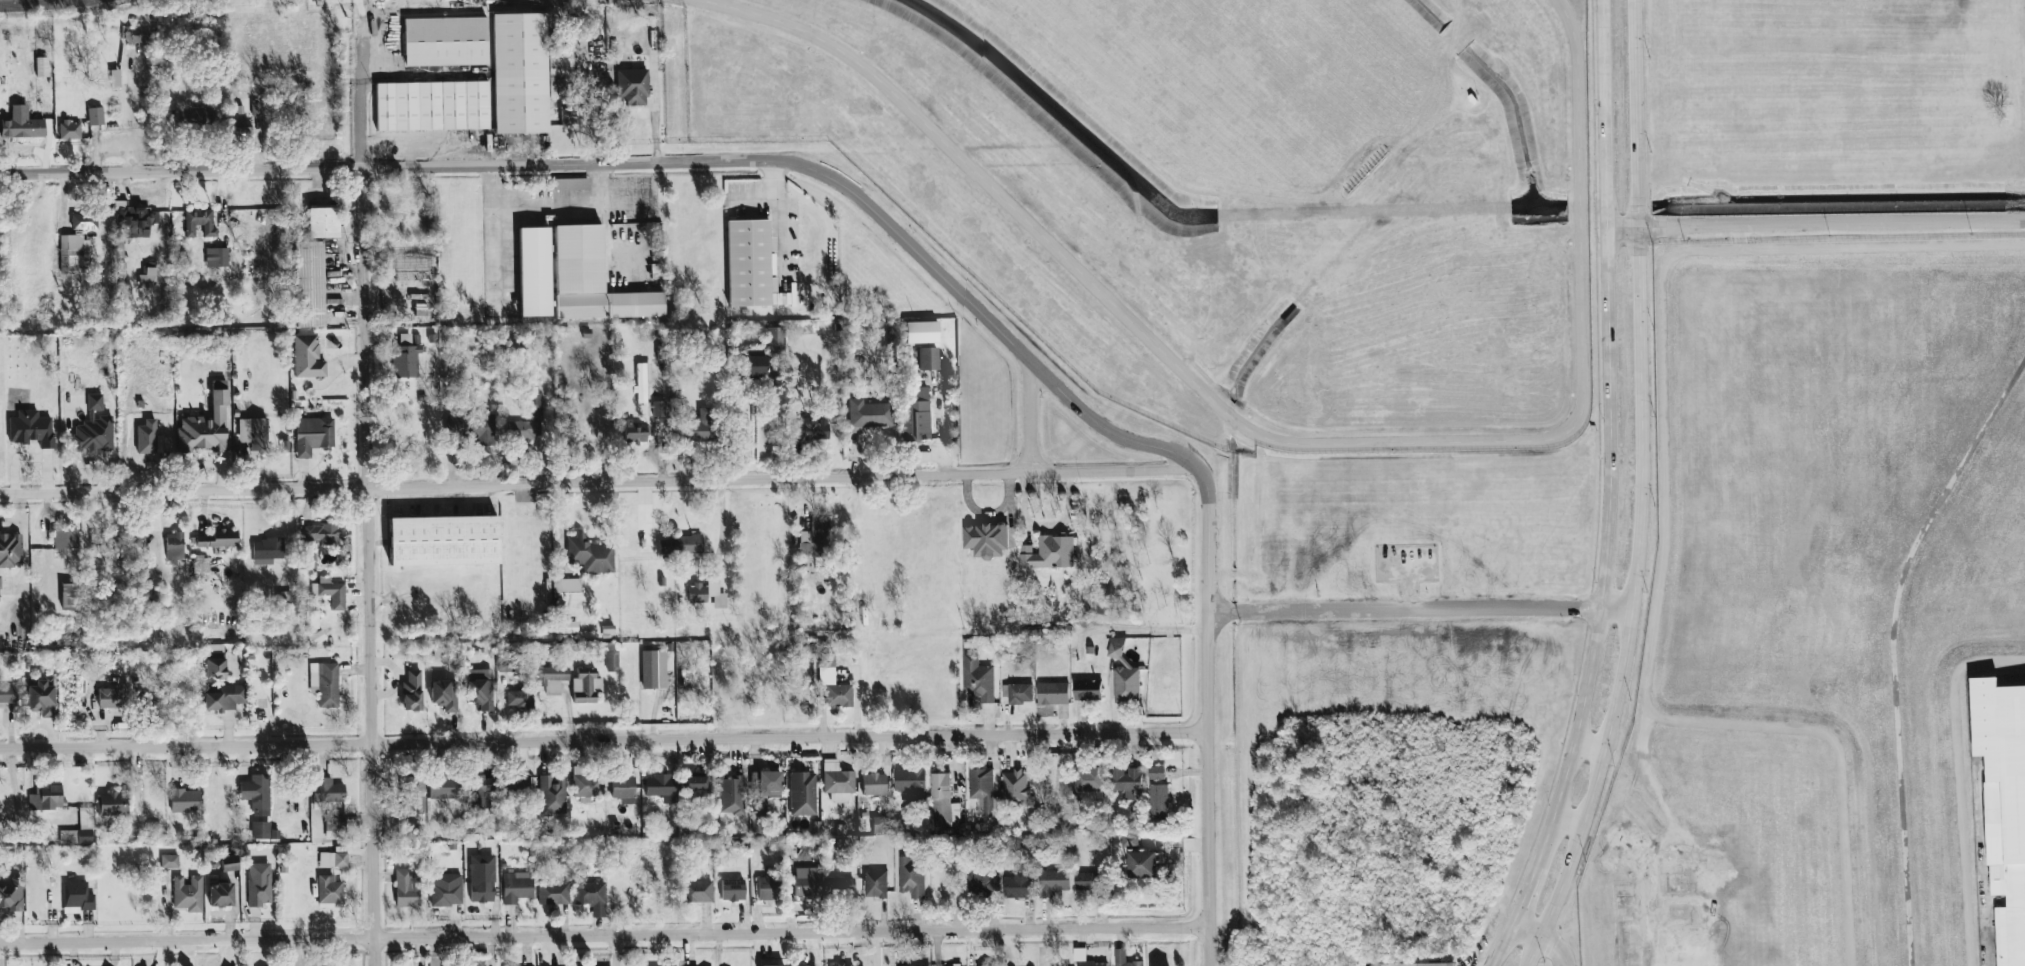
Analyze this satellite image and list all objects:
road: (1450, 54)
building: (560, 71)
building: (473, 79)
building: (633, 87)
building: (255, 109)
building: (200, 113)
building: (568, 113)
building: (95, 116)
building: (240, 126)
building: (23, 127)
building: (69, 130)
helipad: (165, 133)
road: (627, 162)
building: (571, 184)
airport: (1215, 195)
road: (547, 204)
road: (777, 206)
building: (131, 219)
building: (84, 220)
building: (199, 222)
building: (322, 222)
road: (1816, 227)
building: (74, 254)
building: (216, 257)
building: (747, 267)
building: (534, 271)
building: (578, 275)
building: (147, 278)
building: (309, 284)
building: (921, 332)
building: (774, 341)
building: (753, 352)
building: (307, 357)
building: (405, 358)
building: (928, 358)
building: (753, 366)
building: (642, 381)
building: (94, 401)
building: (659, 408)
building: (870, 413)
building: (916, 413)
road: (1030, 419)
building: (528, 420)
road: (775, 422)
building: (471, 427)
building: (704, 427)
building: (31, 428)
building: (812, 430)
building: (641, 432)
building: (254, 433)
building: (94, 434)
building: (313, 435)
road: (1279, 445)
building: (284, 446)
building: (147, 447)
road: (602, 481)
road: (1609, 491)
road: (1647, 491)
road: (371, 494)
road: (721, 526)
building: (105, 538)
building: (815, 538)
building: (216, 539)
building: (986, 540)
building: (443, 542)
building: (65, 543)
building: (680, 544)
building: (174, 546)
building: (267, 549)
building: (10, 550)
building: (589, 554)
building: (1048, 554)
building: (307, 557)
building: (200, 564)
building: (569, 585)
building: (330, 592)
building: (716, 592)
building: (697, 593)
building: (70, 595)
building: (285, 597)
road: (1427, 599)
building: (313, 626)
building: (567, 626)
building: (612, 659)
building: (506, 664)
building: (215, 668)
building: (653, 669)
building: (1123, 674)
building: (552, 678)
building: (978, 680)
building: (324, 683)
building: (833, 683)
building: (586, 686)
road: (1210, 688)
building: (480, 689)
building: (1087, 691)
building: (412, 692)
building: (7, 694)
building: (1052, 694)
building: (444, 695)
building: (1020, 695)
building: (519, 696)
building: (109, 698)
building: (41, 699)
building: (224, 699)
road: (1594, 733)
road: (604, 739)
building: (1156, 773)
building: (837, 778)
building: (1088, 779)
building: (1125, 781)
building: (696, 782)
building: (765, 783)
building: (621, 784)
building: (874, 784)
building: (911, 784)
building: (588, 785)
building: (514, 786)
building: (659, 786)
building: (444, 787)
building: (479, 787)
building: (1016, 789)
building: (327, 790)
building: (256, 794)
building: (803, 794)
building: (45, 795)
building: (412, 795)
building: (552, 795)
building: (731, 795)
building: (984, 795)
building: (184, 800)
building: (1158, 802)
building: (942, 803)
building: (112, 804)
building: (2003, 809)
road: (1572, 814)
building: (759, 816)
building: (335, 822)
building: (880, 825)
building: (80, 829)
building: (263, 831)
building: (1130, 838)
building: (333, 860)
building: (169, 861)
building: (229, 864)
building: (1142, 866)
building: (911, 878)
building: (481, 879)
building: (806, 882)
building: (982, 882)
building: (1089, 882)
building: (1053, 883)
building: (258, 884)
building: (839, 885)
building: (875, 885)
building: (1019, 885)
building: (516, 887)
building: (406, 889)
building: (768, 889)
building: (732, 890)
building: (697, 891)
building: (329, 892)
building: (553, 892)
building: (187, 894)
building: (445, 894)
building: (11, 895)
building: (220, 896)
building: (591, 896)
building: (77, 898)
road: (605, 934)
road: (1529, 934)
road: (1555, 951)
building: (1084, 958)
building: (1124, 959)
building: (840, 964)
building: (1060, 964)
building: (1413, 964)
building: (671, 965)
building: (774, 965)
building: (810, 965)
building: (916, 965)
building: (989, 965)

